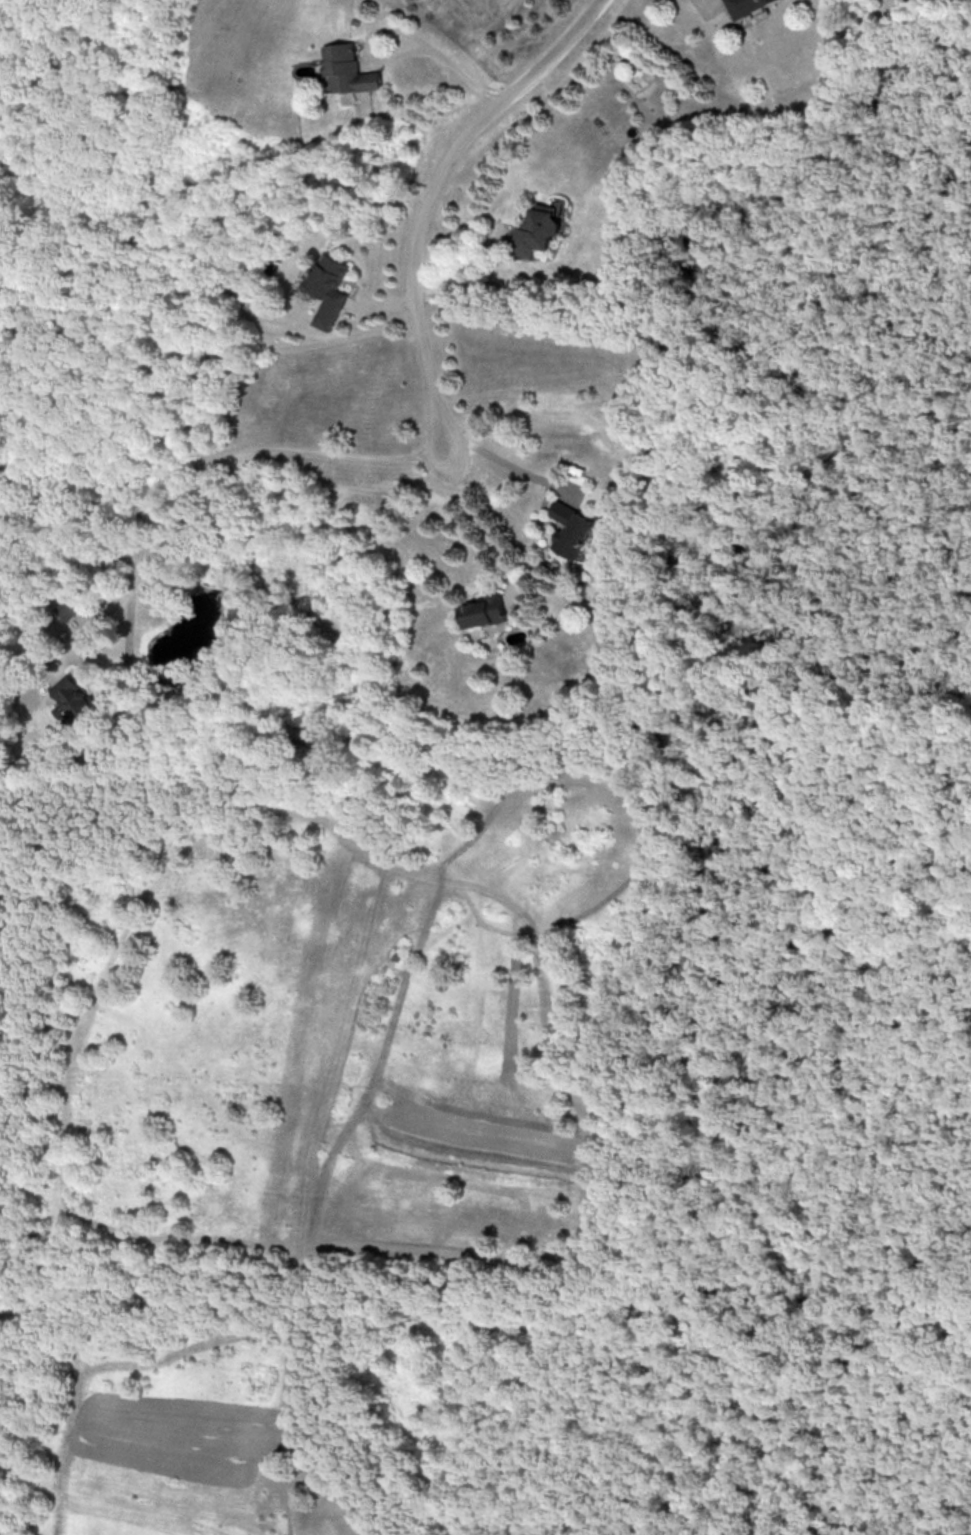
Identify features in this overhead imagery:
building: (745, 6)
road: (402, 31)
building: (348, 69)
road: (431, 193)
building: (536, 231)
road: (466, 275)
building: (329, 289)
road: (517, 468)
road: (157, 507)
road: (483, 521)
building: (572, 529)
building: (484, 611)
building: (73, 699)

